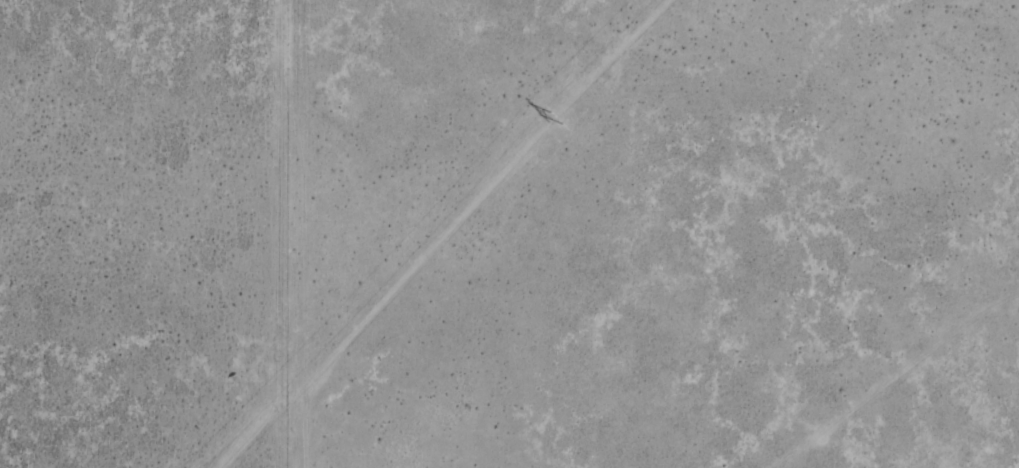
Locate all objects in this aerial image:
power tower: (557, 117)

